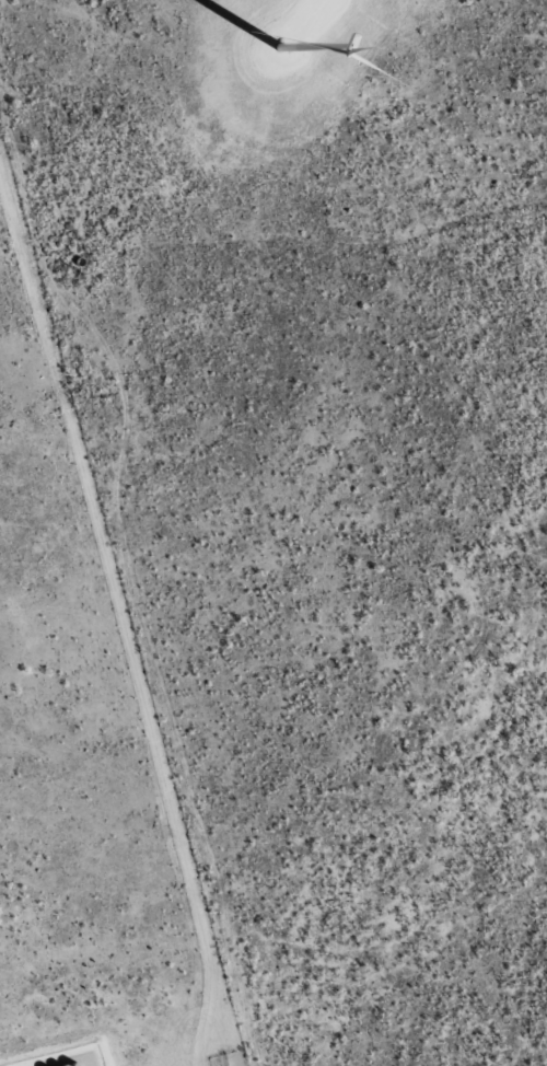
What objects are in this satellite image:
wind turbine: (278, 45)

